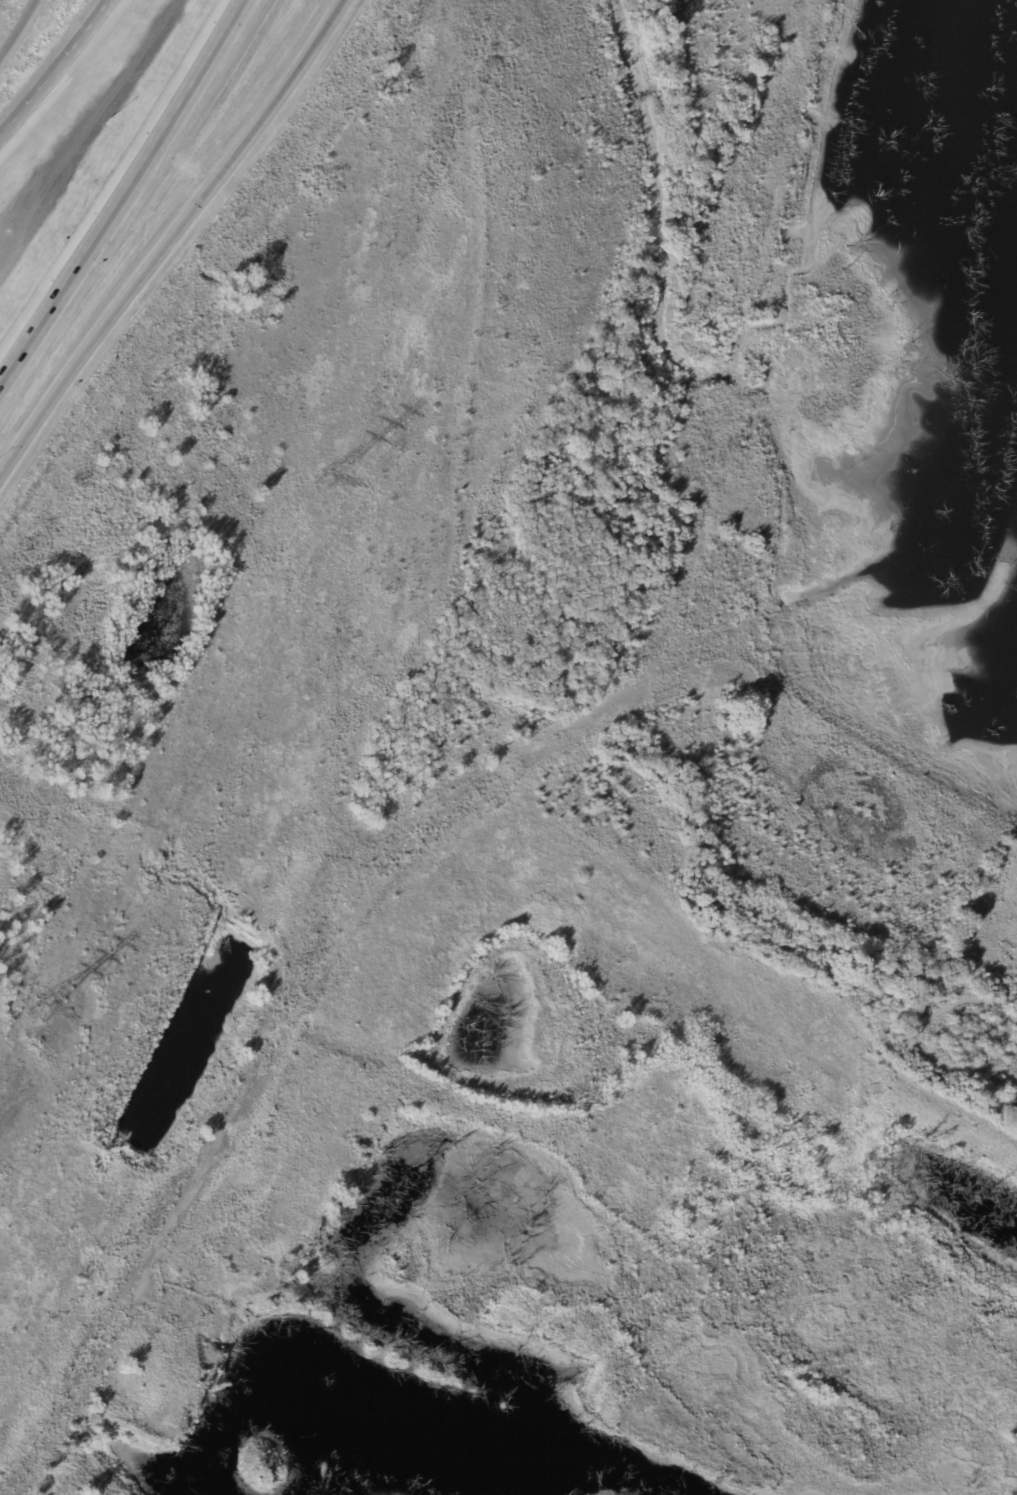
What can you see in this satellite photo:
road: (18, 29)
road: (54, 66)
road: (123, 189)
road: (173, 236)
power tower: (324, 477)
power tower: (41, 1013)

